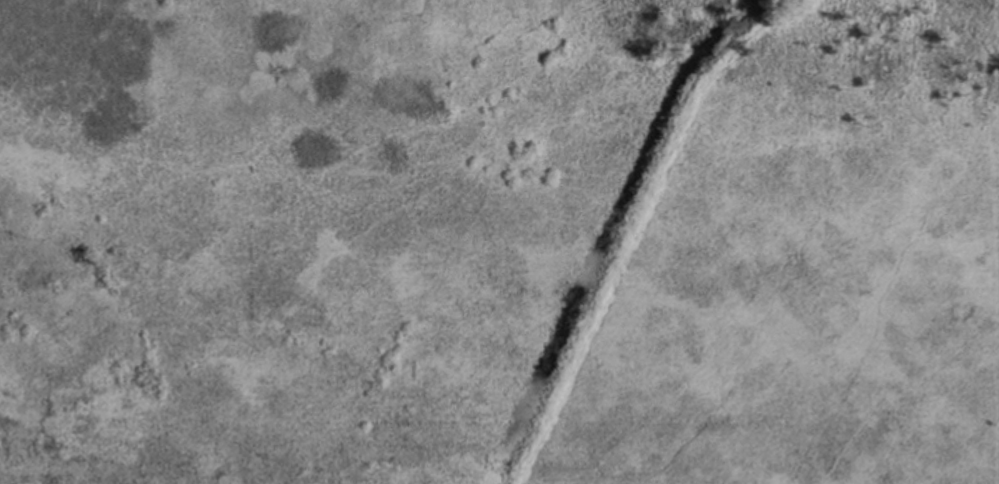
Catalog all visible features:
building: (995, 421)

